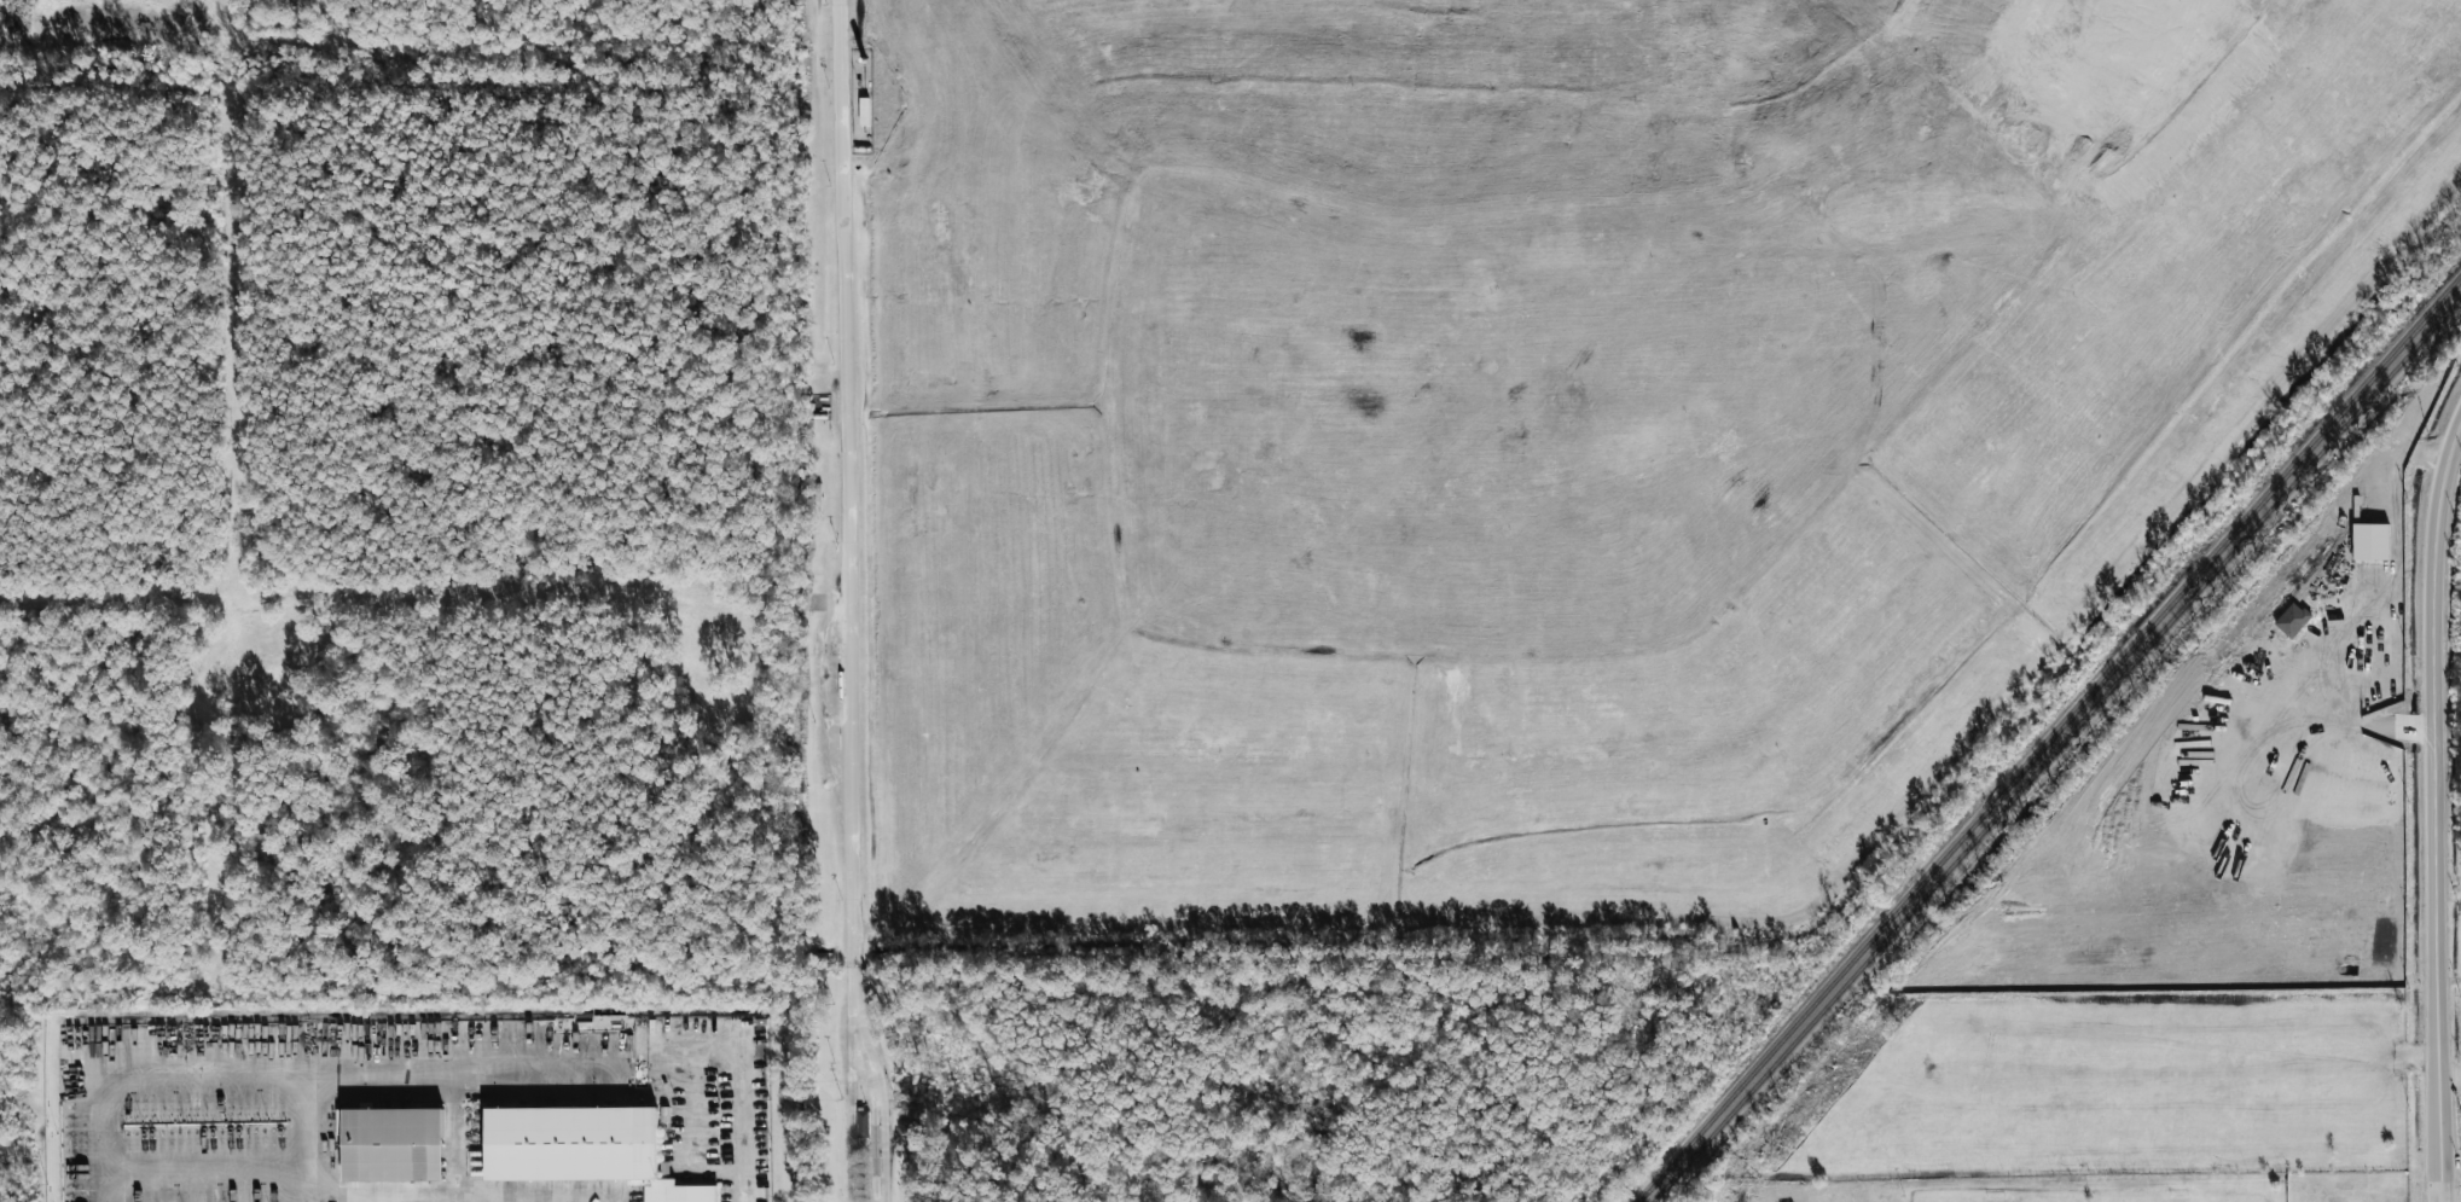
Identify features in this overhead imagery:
landfill: (1522, 429)
road: (846, 602)
railway: (2049, 741)
railway: (2056, 748)
road: (2439, 815)
road: (2451, 1074)
road: (385, 1080)
road: (145, 1081)
road: (744, 1130)
road: (457, 1140)
building: (391, 1145)
building: (581, 1149)
park: (2189, 1200)
park: (2020, 1201)

